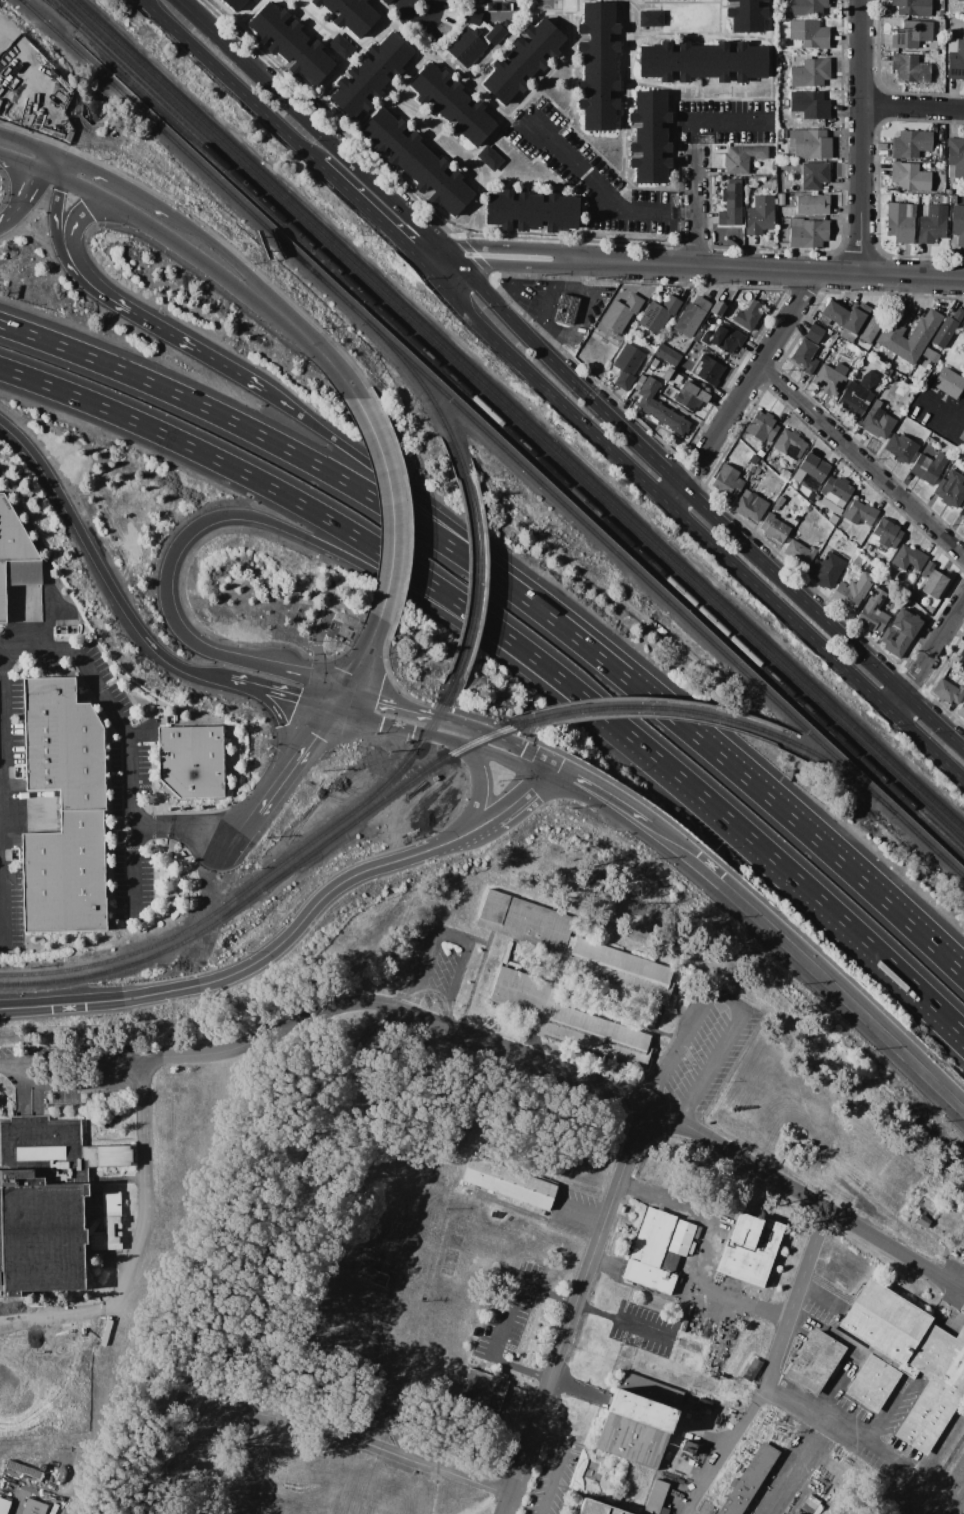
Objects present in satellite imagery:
building: (252, 0)
building: (960, 0)
building: (234, 4)
railway: (54, 5)
railway: (56, 5)
building: (505, 6)
building: (489, 7)
building: (807, 7)
building: (912, 7)
building: (349, 14)
building: (746, 15)
building: (650, 18)
road: (420, 19)
building: (506, 23)
building: (808, 34)
building: (911, 34)
building: (473, 38)
building: (783, 42)
building: (290, 43)
building: (340, 46)
building: (803, 54)
building: (794, 55)
building: (784, 58)
building: (954, 59)
building: (523, 61)
building: (703, 61)
building: (598, 66)
building: (910, 69)
building: (810, 73)
building: (371, 76)
road: (232, 82)
building: (451, 104)
building: (784, 104)
building: (809, 104)
road: (916, 110)
road: (308, 123)
road: (724, 125)
building: (781, 134)
building: (649, 137)
road: (867, 137)
road: (31, 141)
building: (779, 142)
building: (809, 144)
building: (910, 144)
building: (934, 151)
building: (490, 158)
building: (741, 158)
building: (955, 158)
railway: (192, 160)
road: (20, 162)
building: (416, 162)
road: (39, 171)
road: (98, 174)
building: (814, 176)
building: (909, 177)
building: (779, 188)
building: (948, 191)
road: (598, 195)
building: (780, 199)
building: (953, 200)
building: (731, 202)
building: (774, 202)
building: (812, 204)
road: (696, 205)
road: (156, 208)
road: (13, 211)
building: (531, 211)
road: (369, 213)
building: (760, 215)
building: (900, 222)
building: (958, 223)
building: (931, 224)
road: (150, 231)
building: (807, 233)
road: (57, 248)
road: (503, 249)
road: (429, 254)
road: (223, 255)
road: (74, 256)
road: (447, 256)
road: (438, 264)
road: (512, 267)
road: (765, 269)
road: (549, 292)
building: (717, 308)
building: (566, 309)
road: (581, 312)
building: (620, 313)
building: (658, 314)
building: (748, 315)
building: (846, 316)
building: (691, 317)
building: (823, 320)
building: (874, 323)
building: (962, 325)
building: (946, 329)
building: (891, 338)
building: (723, 339)
road: (544, 342)
road: (310, 343)
road: (195, 349)
building: (650, 349)
building: (808, 349)
building: (667, 354)
building: (930, 355)
building: (626, 366)
building: (708, 370)
building: (887, 371)
building: (666, 374)
railway: (416, 379)
building: (674, 379)
building: (828, 381)
building: (948, 382)
road: (743, 391)
building: (857, 395)
building: (690, 397)
road: (937, 408)
building: (659, 409)
railway: (518, 414)
railway: (512, 420)
building: (878, 420)
building: (761, 427)
railway: (513, 432)
road: (952, 434)
building: (961, 436)
building: (928, 441)
building: (789, 443)
building: (900, 448)
building: (760, 454)
road: (300, 456)
road: (861, 462)
building: (927, 467)
building: (814, 468)
building: (784, 474)
building: (727, 481)
building: (950, 489)
building: (836, 491)
building: (808, 499)
building: (779, 501)
road: (390, 505)
road: (424, 506)
building: (749, 506)
road: (707, 510)
building: (962, 511)
building: (859, 513)
building: (963, 519)
building: (831, 521)
road: (686, 525)
building: (774, 528)
road: (345, 531)
building: (886, 533)
building: (13, 536)
road: (306, 537)
building: (867, 548)
building: (799, 553)
building: (908, 558)
building: (857, 561)
railway: (628, 566)
railway: (476, 567)
road: (99, 568)
building: (926, 569)
building: (825, 570)
building: (17, 578)
building: (933, 584)
building: (855, 588)
building: (911, 595)
building: (873, 613)
building: (900, 633)
road: (929, 652)
building: (960, 658)
road: (356, 664)
building: (947, 692)
road: (278, 694)
road: (384, 705)
railway: (656, 708)
building: (961, 711)
road: (459, 725)
road: (131, 738)
road: (439, 738)
building: (63, 745)
road: (521, 747)
building: (191, 761)
railway: (837, 770)
road: (278, 779)
road: (1, 790)
road: (478, 791)
railway: (391, 793)
road: (519, 794)
road: (600, 795)
road: (2, 799)
road: (772, 803)
railway: (928, 846)
road: (134, 869)
building: (64, 876)
railway: (256, 881)
road: (811, 893)
road: (450, 936)
building: (573, 947)
road: (262, 957)
railway: (138, 959)
road: (809, 967)
road: (727, 999)
road: (418, 1016)
building: (562, 1017)
road: (80, 1062)
road: (139, 1146)
building: (508, 1182)
road: (297, 1193)
building: (43, 1200)
road: (812, 1200)
building: (923, 1222)
building: (105, 1223)
building: (749, 1248)
building: (657, 1249)
building: (369, 1274)
road: (114, 1295)
road: (820, 1295)
road: (574, 1313)
road: (503, 1321)
road: (623, 1323)
building: (681, 1326)
building: (888, 1362)
building: (752, 1369)
road: (771, 1369)
building: (483, 1388)
building: (704, 1403)
road: (887, 1413)
building: (637, 1420)
road: (837, 1422)
road: (364, 1441)
building: (692, 1449)
road: (176, 1451)
road: (790, 1463)
road: (554, 1464)
building: (41, 1467)
building: (24, 1469)
building: (833, 1470)
building: (749, 1480)
building: (68, 1486)
building: (654, 1497)
road: (956, 1500)
building: (3, 1505)
building: (32, 1507)
building: (596, 1507)
building: (796, 1512)
building: (792, 1513)

